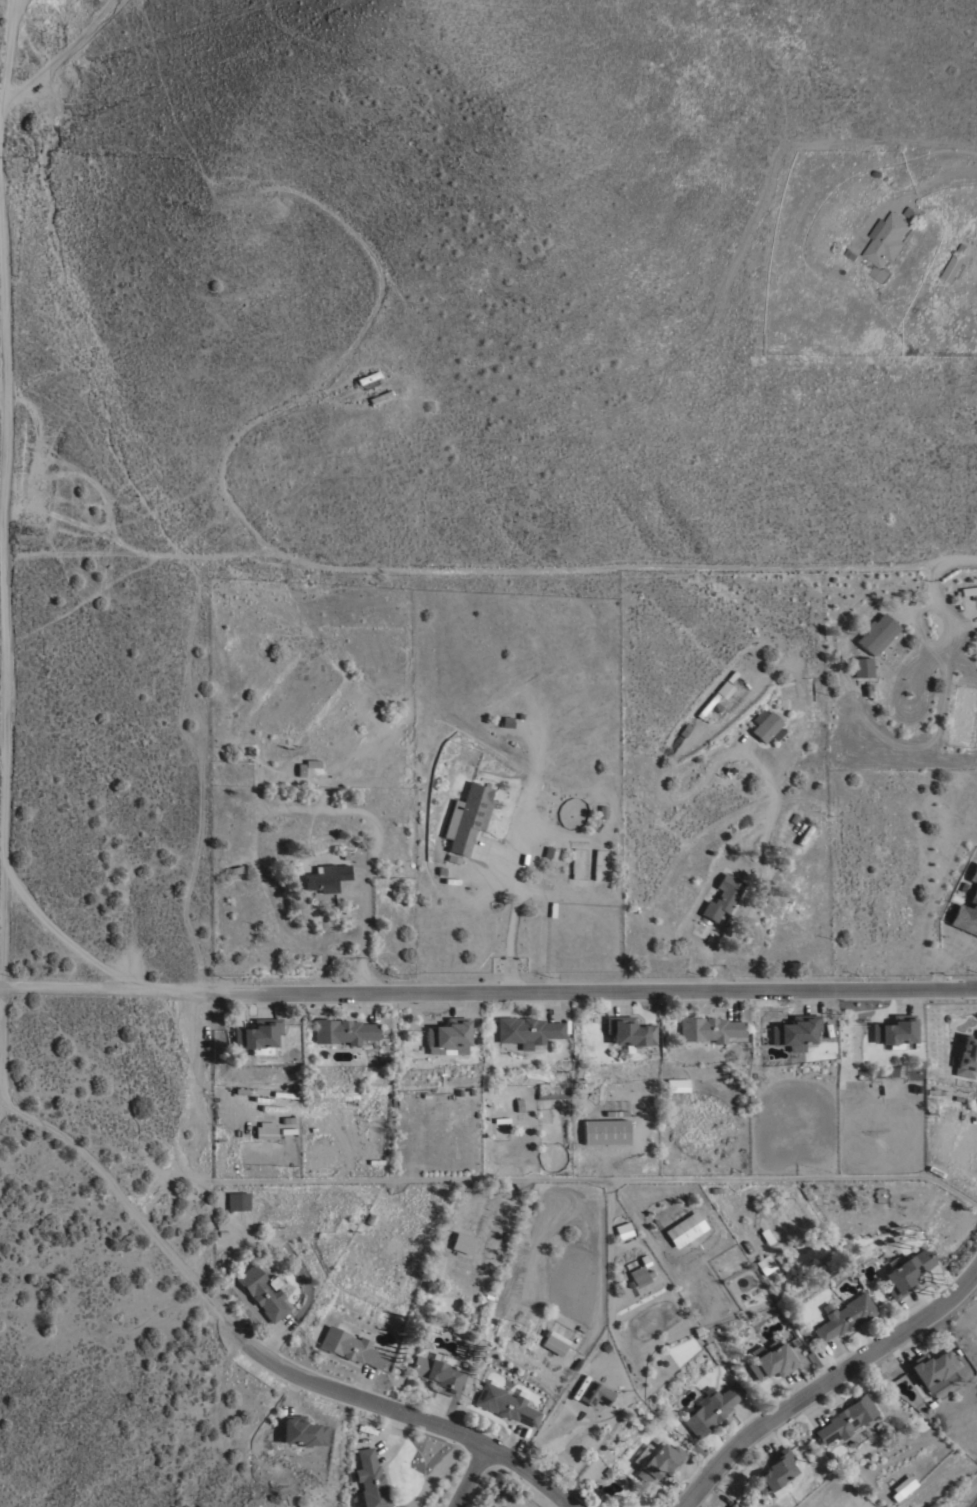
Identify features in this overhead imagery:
road: (945, 177)
building: (913, 212)
building: (888, 238)
building: (953, 265)
building: (367, 377)
building: (379, 395)
road: (4, 536)
road: (959, 561)
road: (466, 570)
building: (967, 591)
road: (930, 594)
building: (877, 633)
building: (862, 666)
building: (724, 689)
building: (707, 705)
building: (765, 726)
building: (467, 817)
building: (573, 863)
building: (596, 864)
building: (973, 873)
building: (326, 877)
building: (722, 897)
building: (965, 918)
road: (510, 919)
road: (363, 934)
road: (713, 955)
road: (937, 960)
road: (99, 990)
road: (588, 993)
road: (796, 1001)
road: (612, 1002)
road: (907, 1002)
road: (257, 1003)
road: (453, 1003)
road: (729, 1003)
road: (555, 1005)
road: (365, 1006)
building: (709, 1028)
building: (343, 1031)
building: (526, 1031)
building: (628, 1031)
building: (795, 1031)
building: (893, 1031)
building: (447, 1033)
building: (257, 1036)
building: (437, 1051)
building: (966, 1056)
building: (677, 1084)
building: (551, 1095)
road: (196, 1114)
building: (265, 1130)
building: (605, 1131)
building: (937, 1167)
road: (199, 1169)
road: (598, 1177)
building: (238, 1201)
road: (133, 1210)
building: (684, 1229)
building: (620, 1230)
building: (462, 1243)
building: (764, 1264)
building: (907, 1272)
building: (640, 1278)
building: (261, 1292)
building: (845, 1316)
road: (268, 1339)
building: (555, 1342)
building: (349, 1346)
road: (841, 1354)
building: (770, 1359)
road: (902, 1368)
building: (931, 1368)
building: (438, 1372)
road: (824, 1382)
road: (359, 1385)
road: (796, 1385)
road: (290, 1391)
building: (595, 1393)
building: (505, 1404)
road: (810, 1408)
building: (711, 1410)
road: (431, 1412)
road: (748, 1416)
road: (411, 1419)
building: (846, 1419)
building: (302, 1431)
road: (543, 1433)
road: (390, 1436)
road: (765, 1436)
road: (508, 1439)
building: (660, 1463)
building: (774, 1470)
road: (471, 1477)
road: (691, 1477)
building: (370, 1480)
building: (902, 1487)
building: (725, 1505)
building: (730, 1505)

